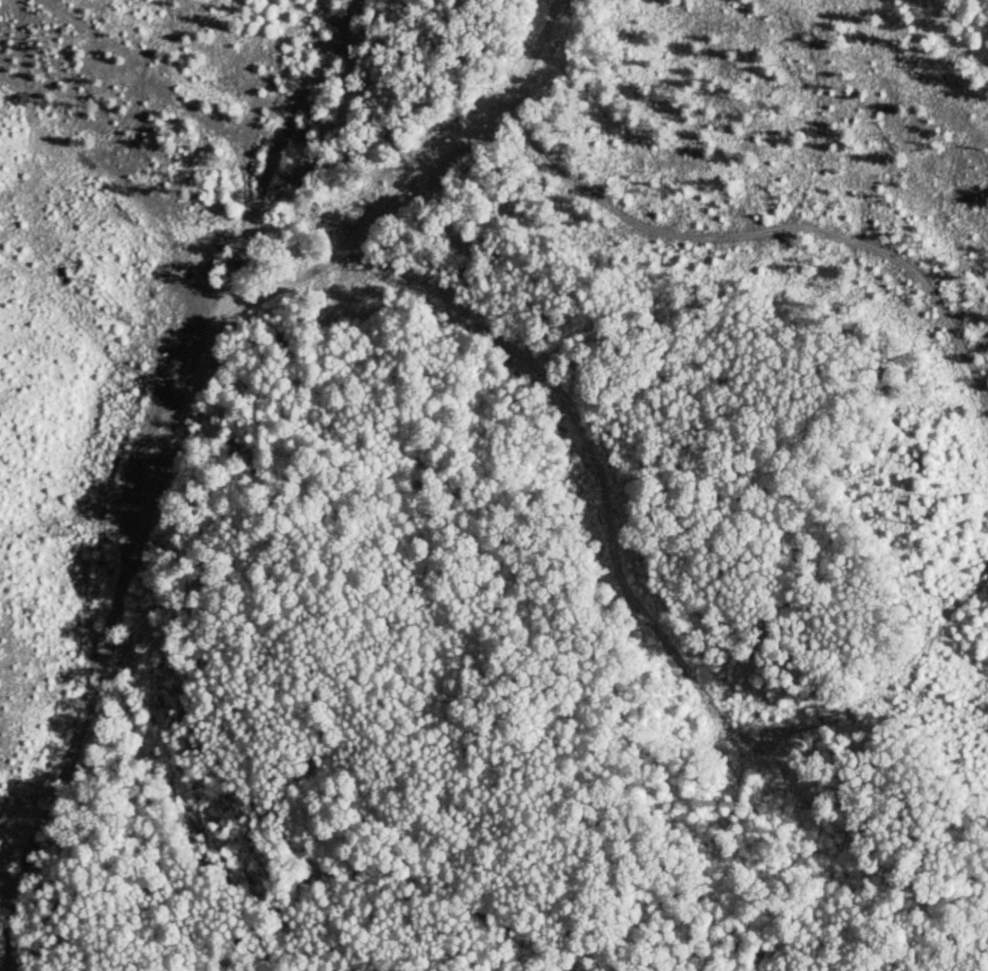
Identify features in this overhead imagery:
road: (405, 177)
road: (163, 479)

